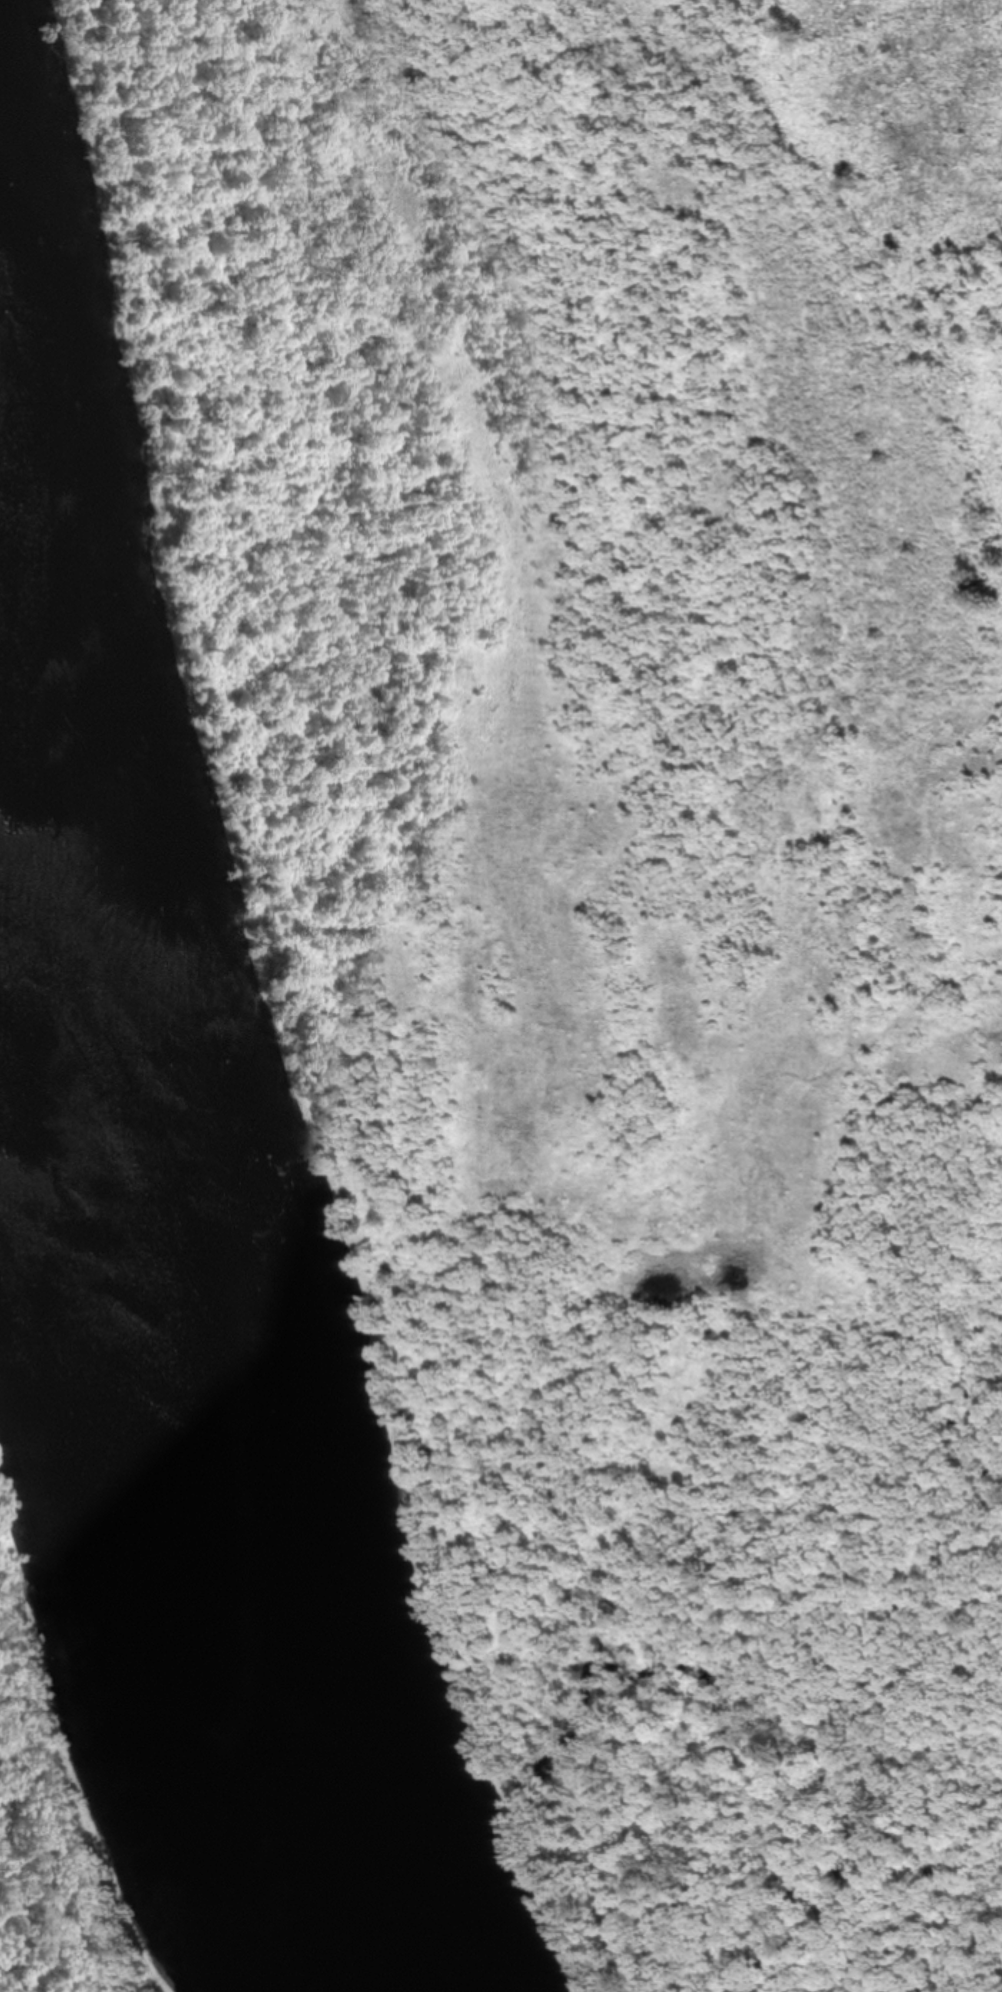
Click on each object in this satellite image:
road: (360, 1113)
river: (176, 1386)
park: (123, 1658)

